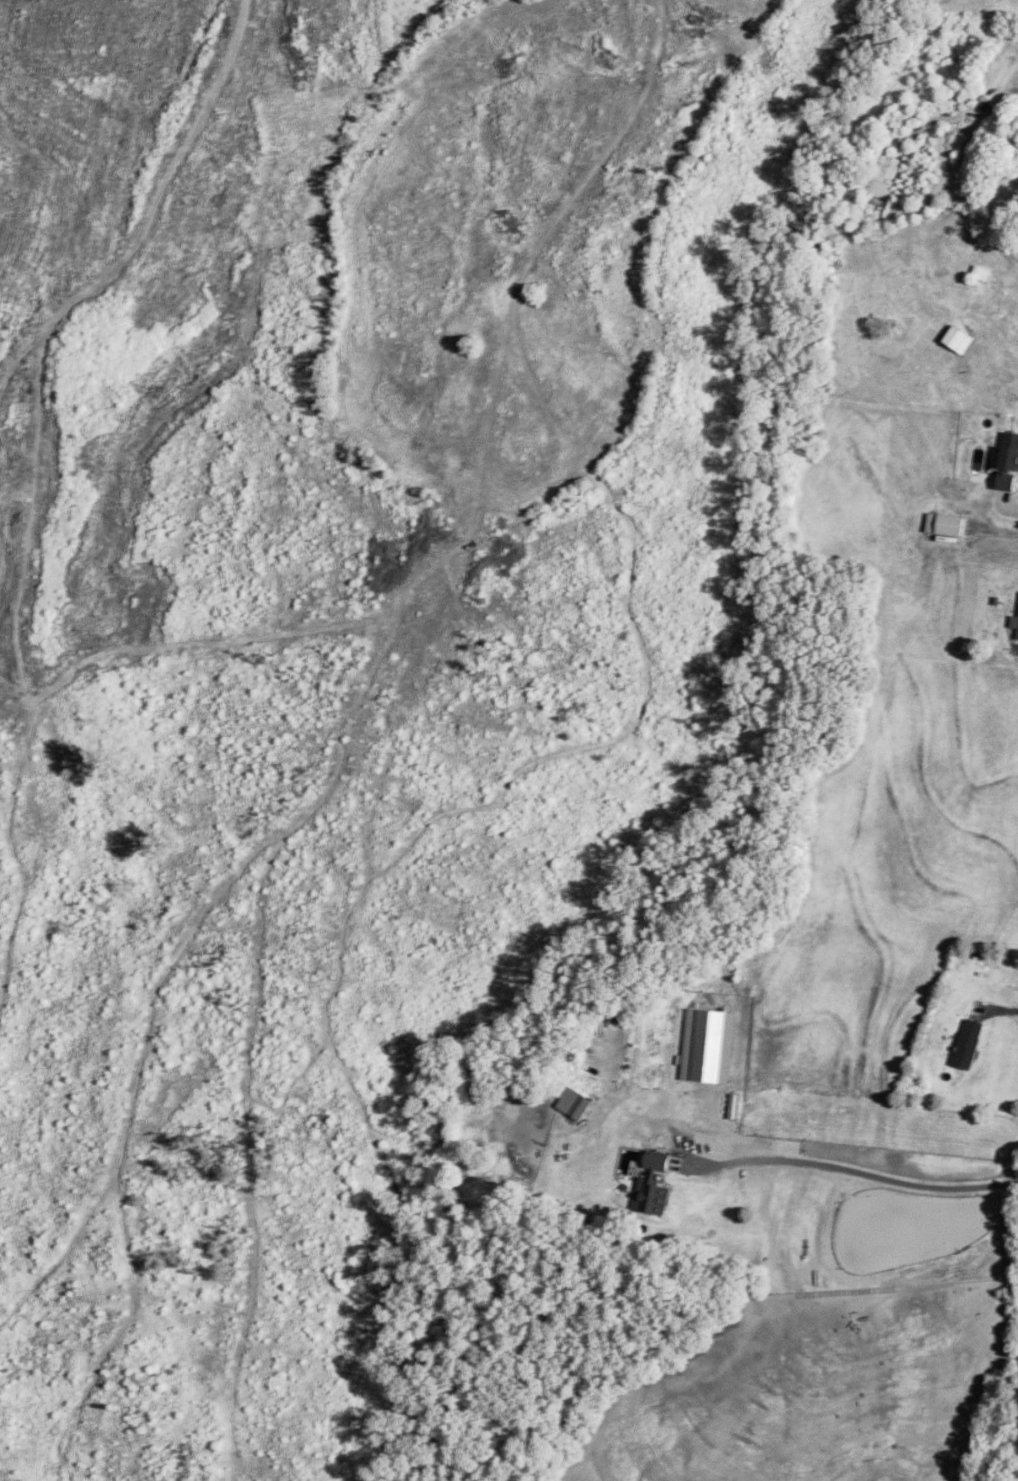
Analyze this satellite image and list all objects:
building: (881, 185)
building: (959, 341)
building: (1009, 463)
road: (1006, 503)
building: (1015, 623)
building: (1017, 640)
building: (969, 1045)
building: (575, 1104)
building: (657, 1162)
road: (858, 1172)
building: (653, 1197)

